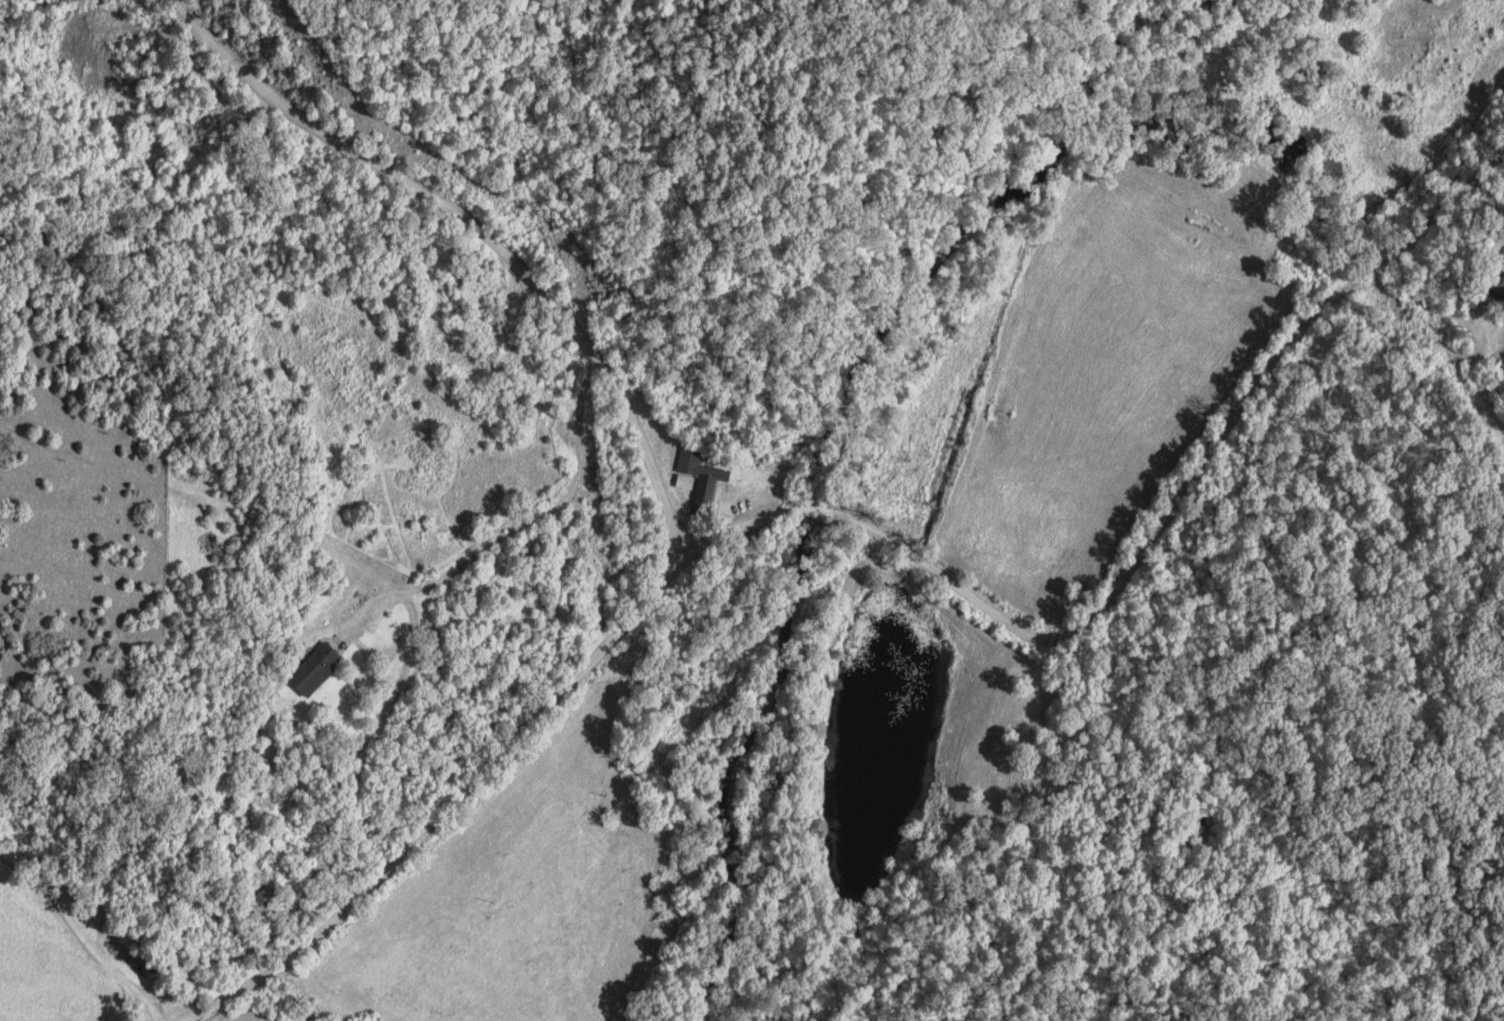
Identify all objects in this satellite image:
road: (468, 237)
building: (1497, 288)
building: (1500, 348)
building: (695, 478)
road: (871, 542)
road: (1430, 548)
building: (309, 670)
road: (332, 817)
building: (258, 900)
road: (72, 925)

